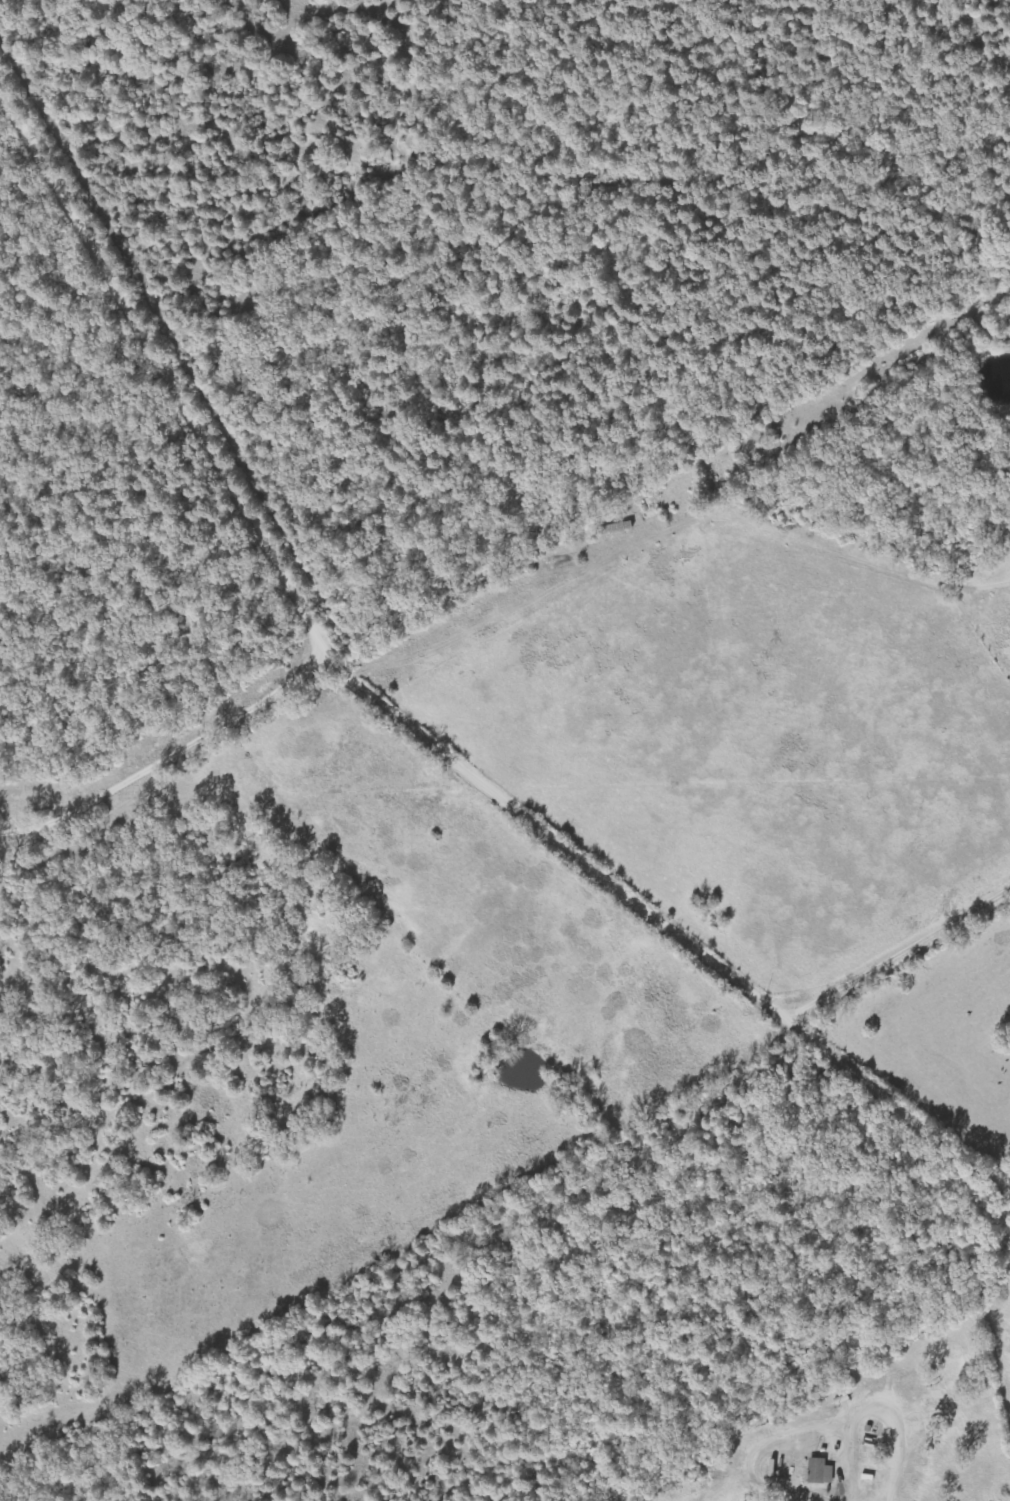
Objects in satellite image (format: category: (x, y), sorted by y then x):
road: (191, 395)
building: (647, 509)
road: (667, 547)
road: (519, 836)
building: (822, 1472)

